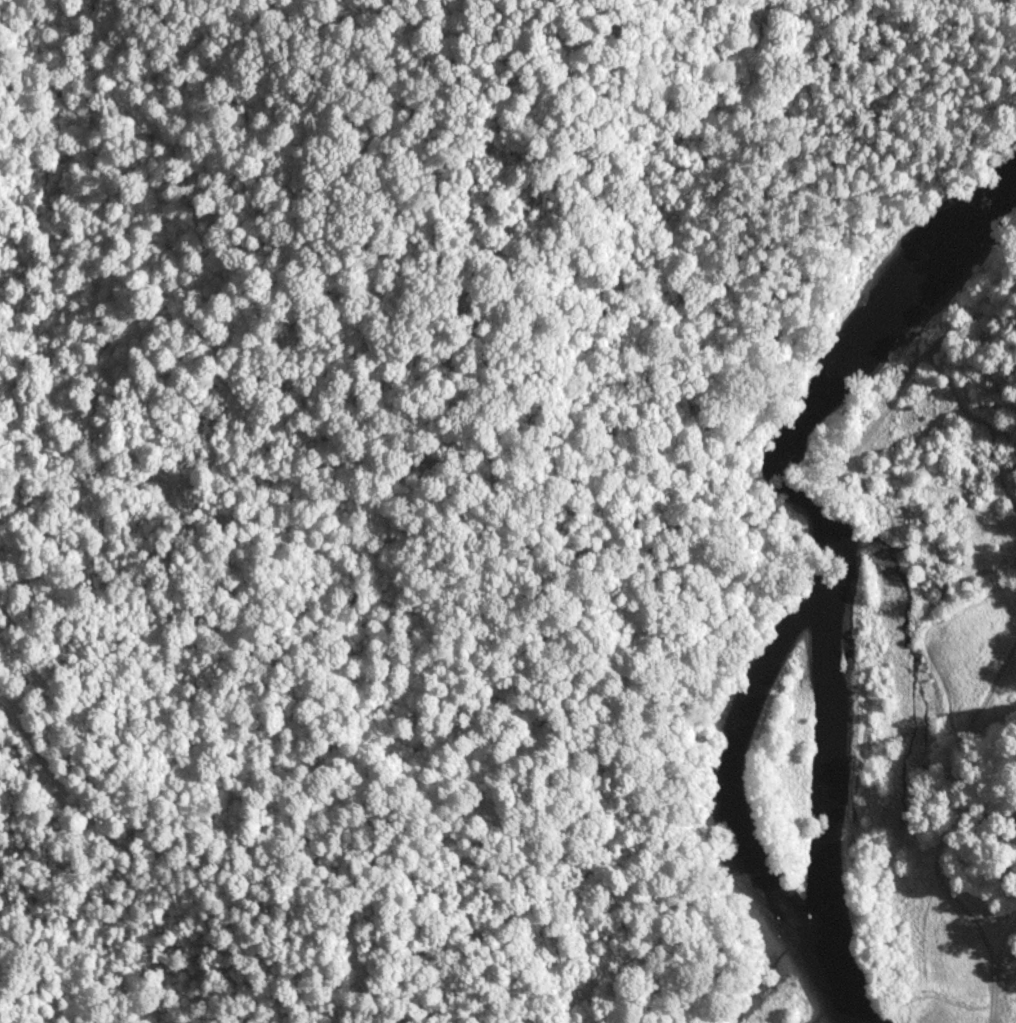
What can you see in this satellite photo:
river: (818, 561)
river: (733, 807)

